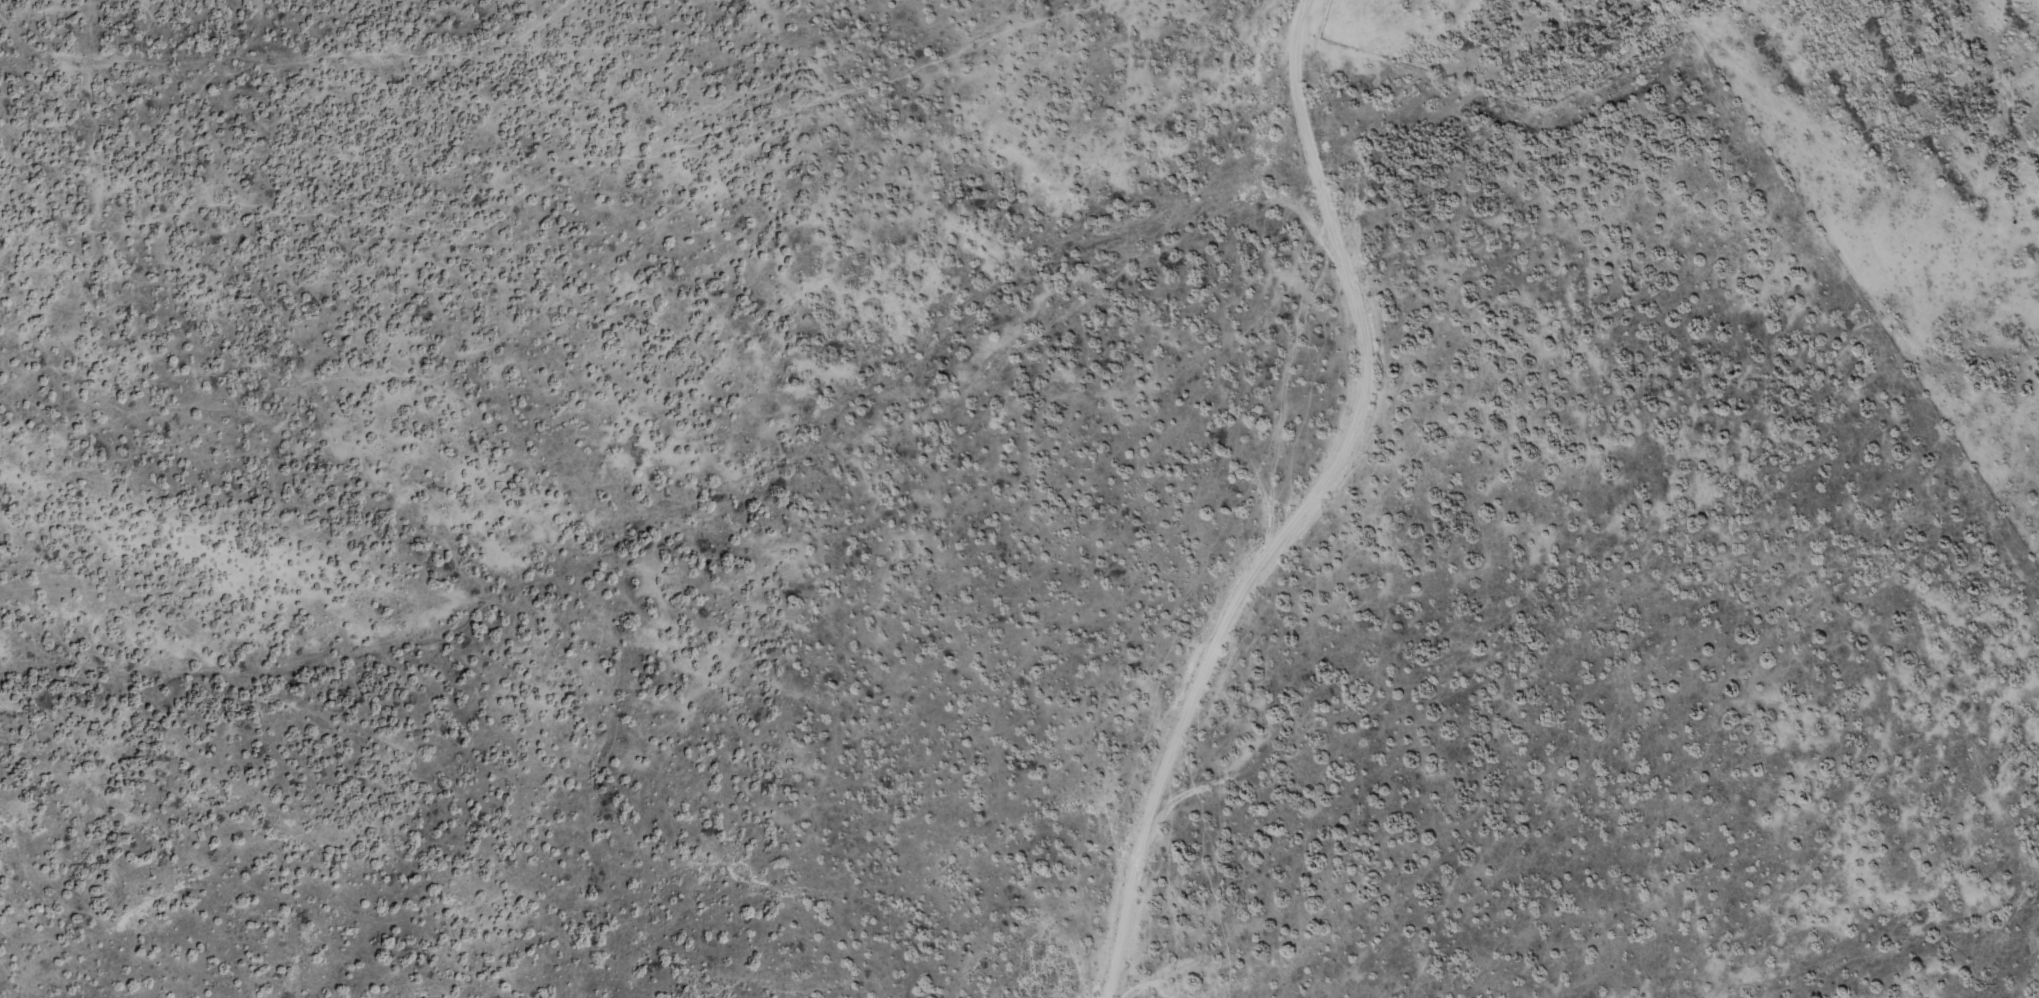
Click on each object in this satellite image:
road: (1279, 498)

